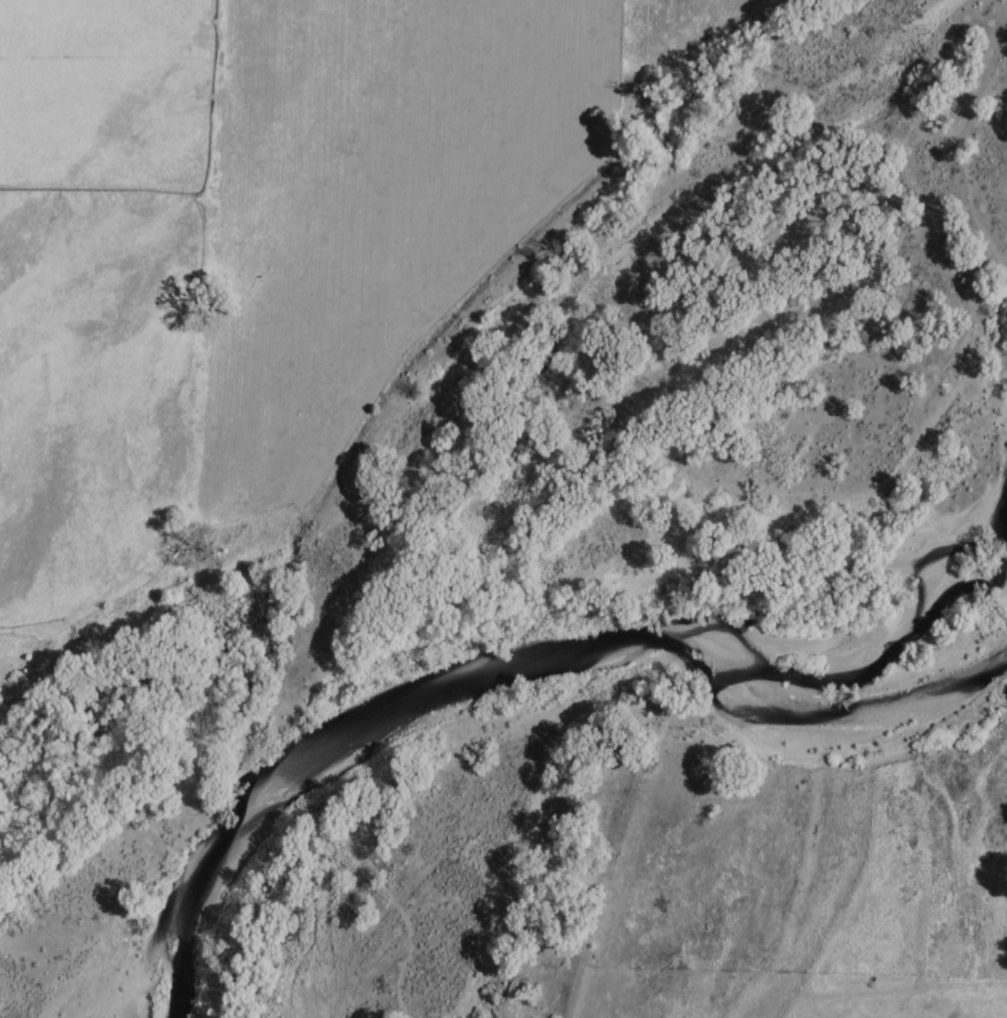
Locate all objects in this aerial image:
river: (718, 629)

